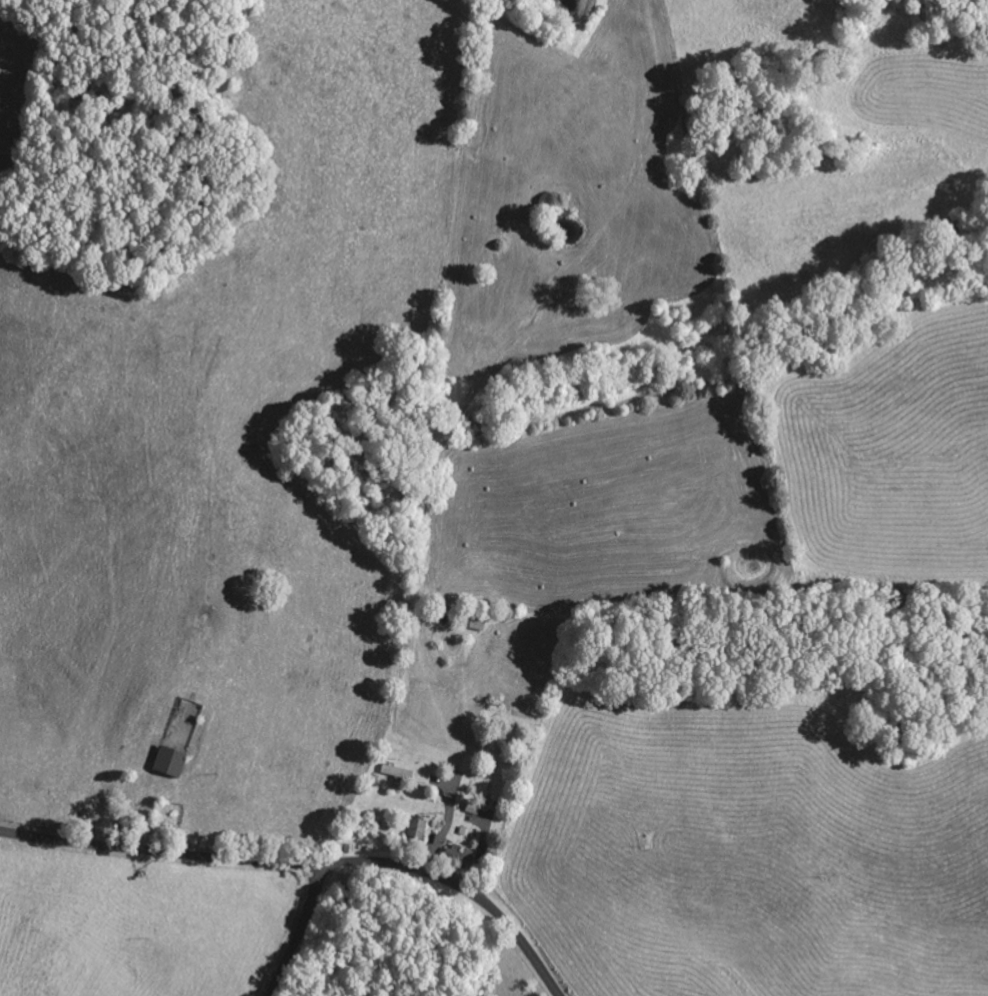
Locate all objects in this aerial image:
building: (162, 762)
building: (392, 775)
building: (476, 815)
building: (412, 830)
building: (456, 855)
road: (304, 862)
road: (295, 929)

